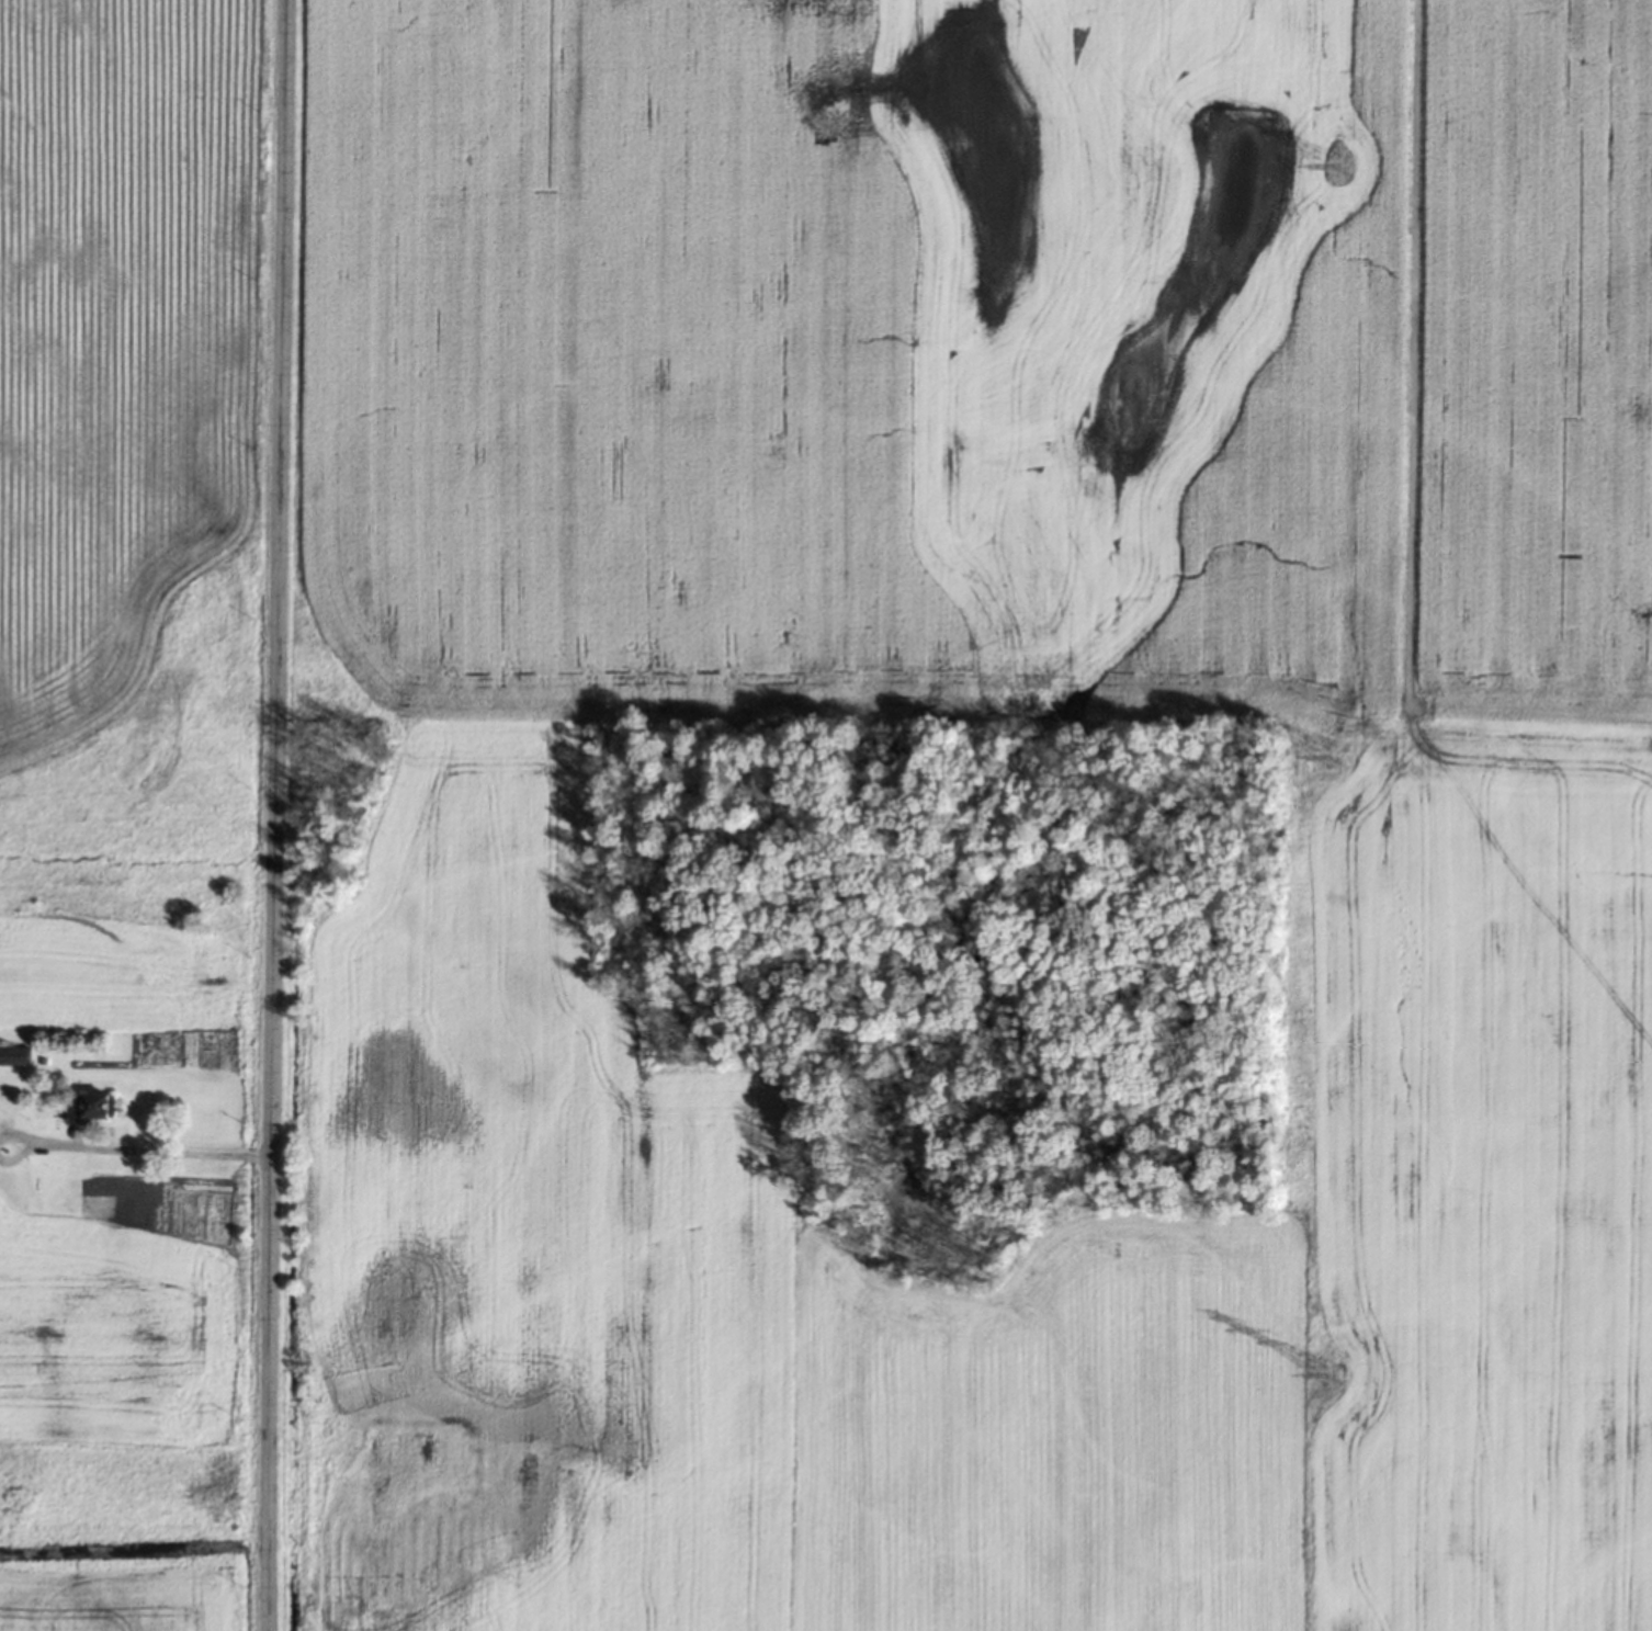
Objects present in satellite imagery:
power tower: (1338, 163)
power tower: (1337, 756)
road: (274, 815)
building: (14, 1055)
building: (97, 1106)
power tower: (1332, 1374)

